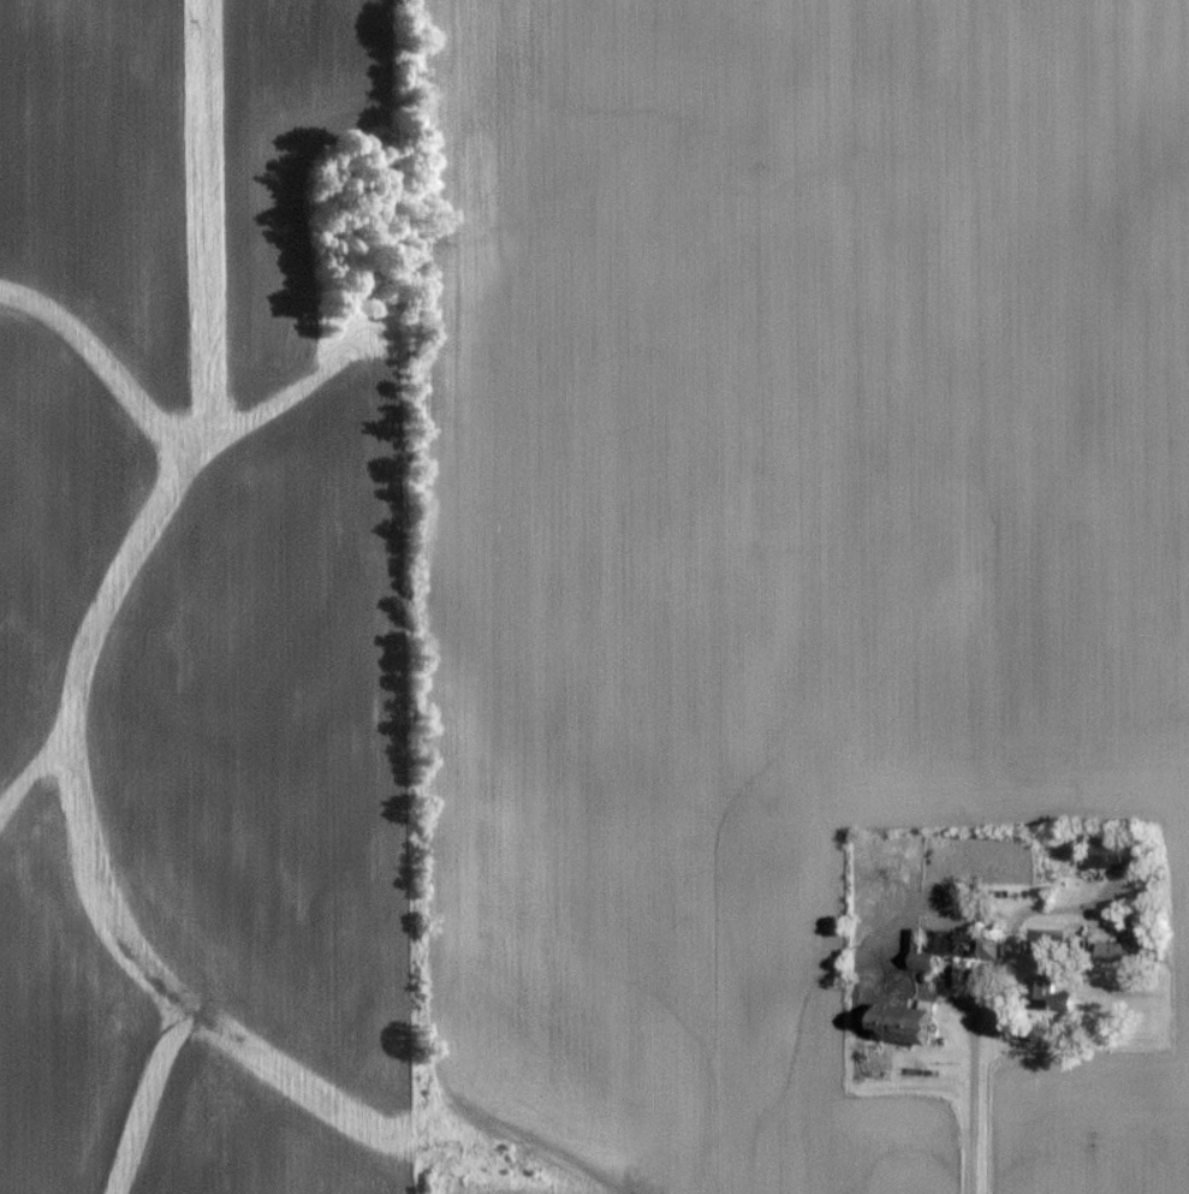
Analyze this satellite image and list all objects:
building: (1122, 851)
building: (1130, 935)
building: (958, 941)
building: (910, 1021)
road: (973, 1085)

